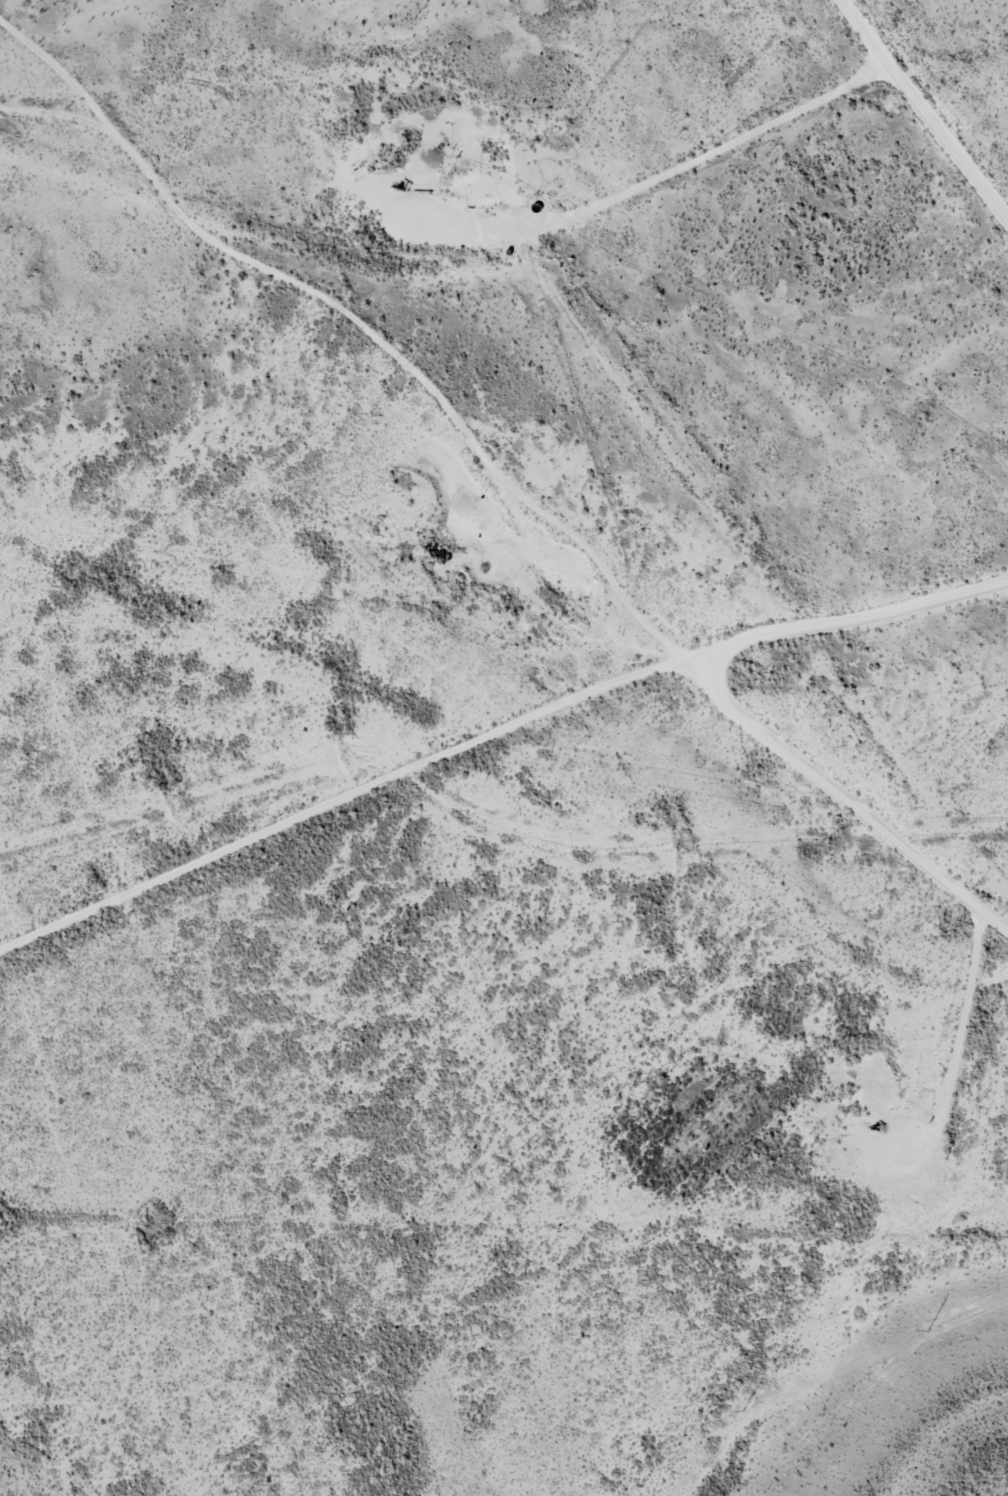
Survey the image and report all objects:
road: (920, 115)
road: (478, 438)
road: (531, 730)
power tower: (926, 1333)
power tower: (741, 1412)

